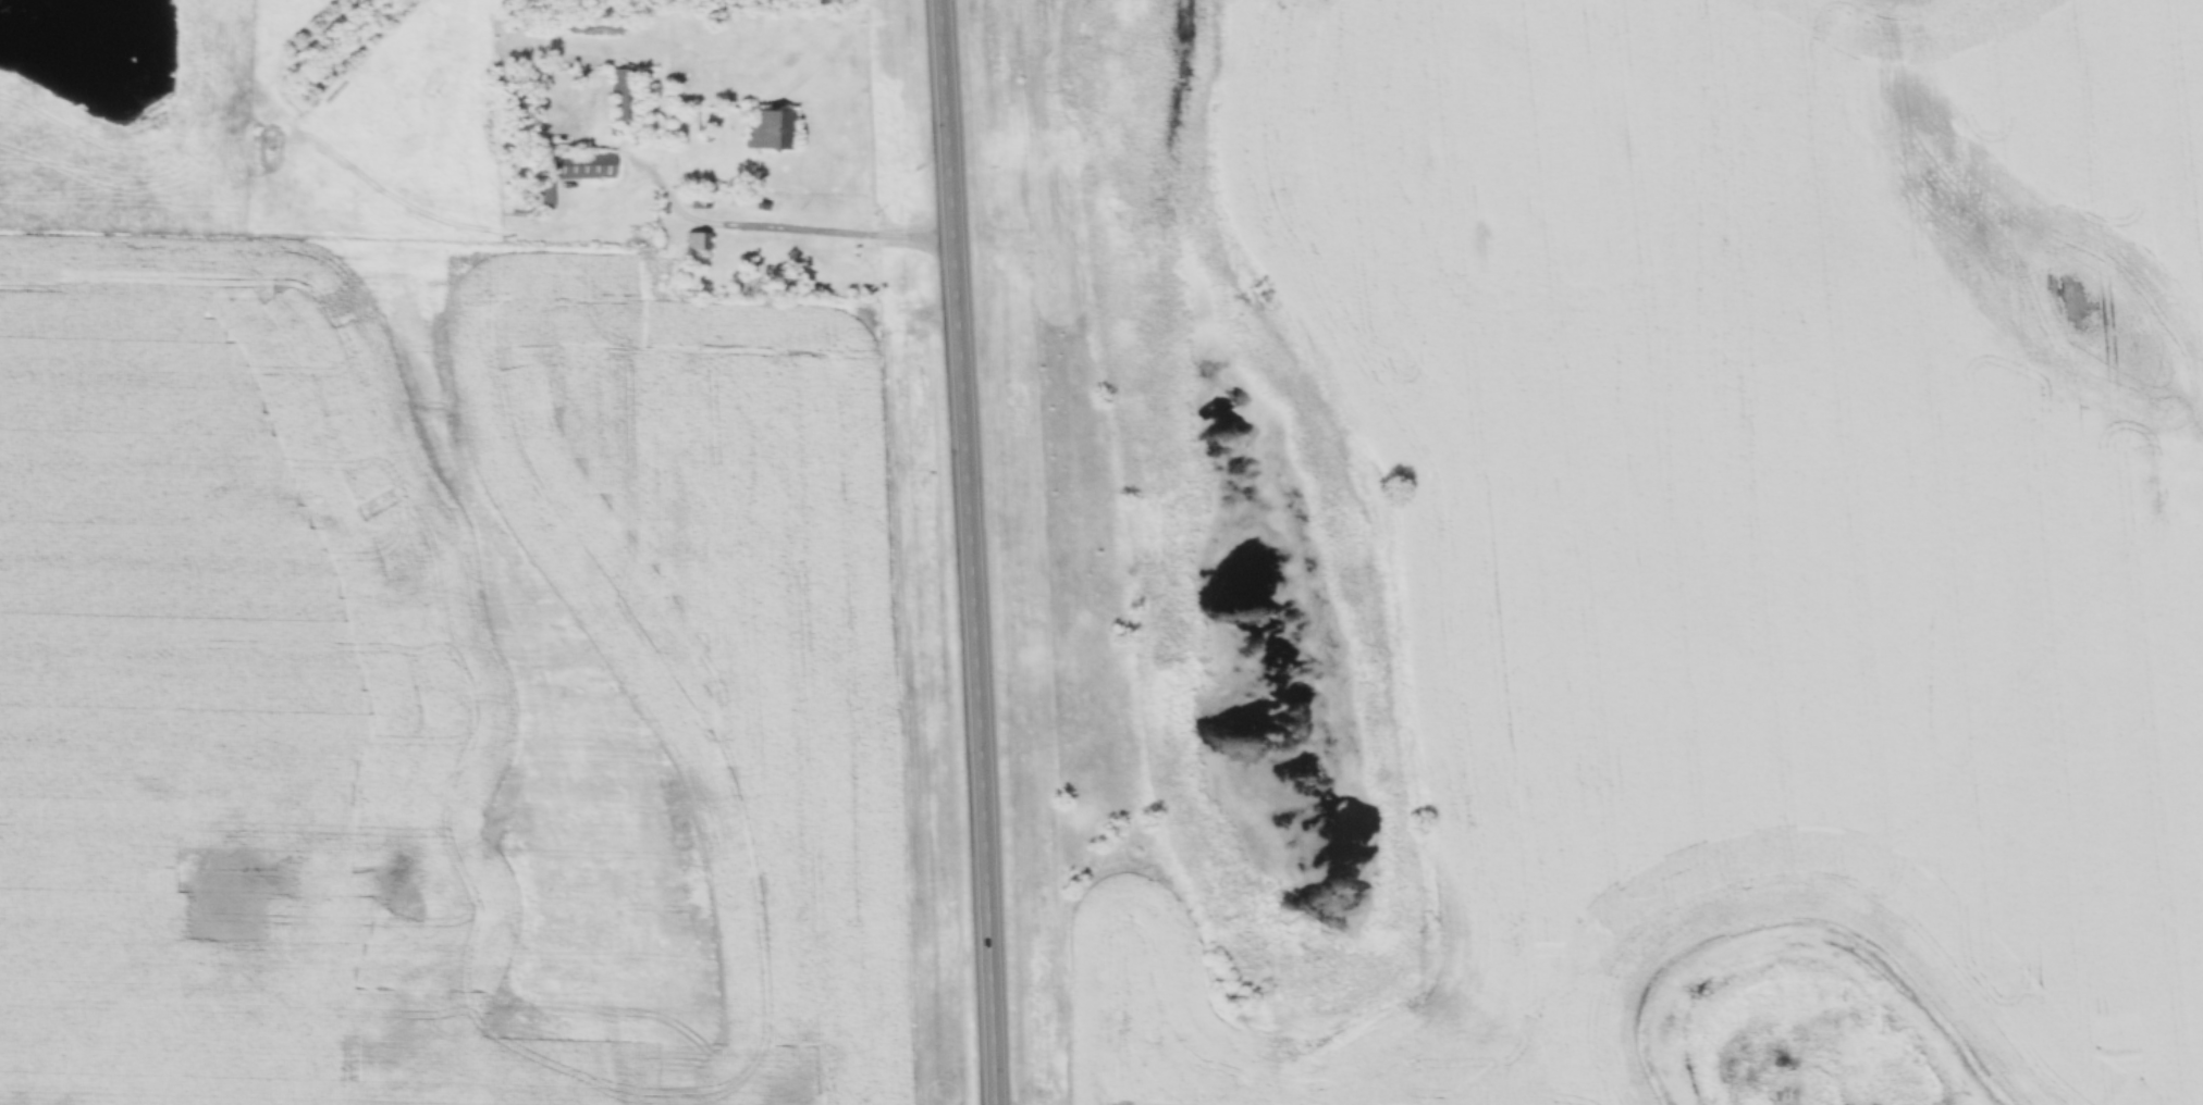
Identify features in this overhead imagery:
building: (620, 92)
building: (768, 128)
building: (573, 171)
road: (780, 226)
road: (968, 552)

